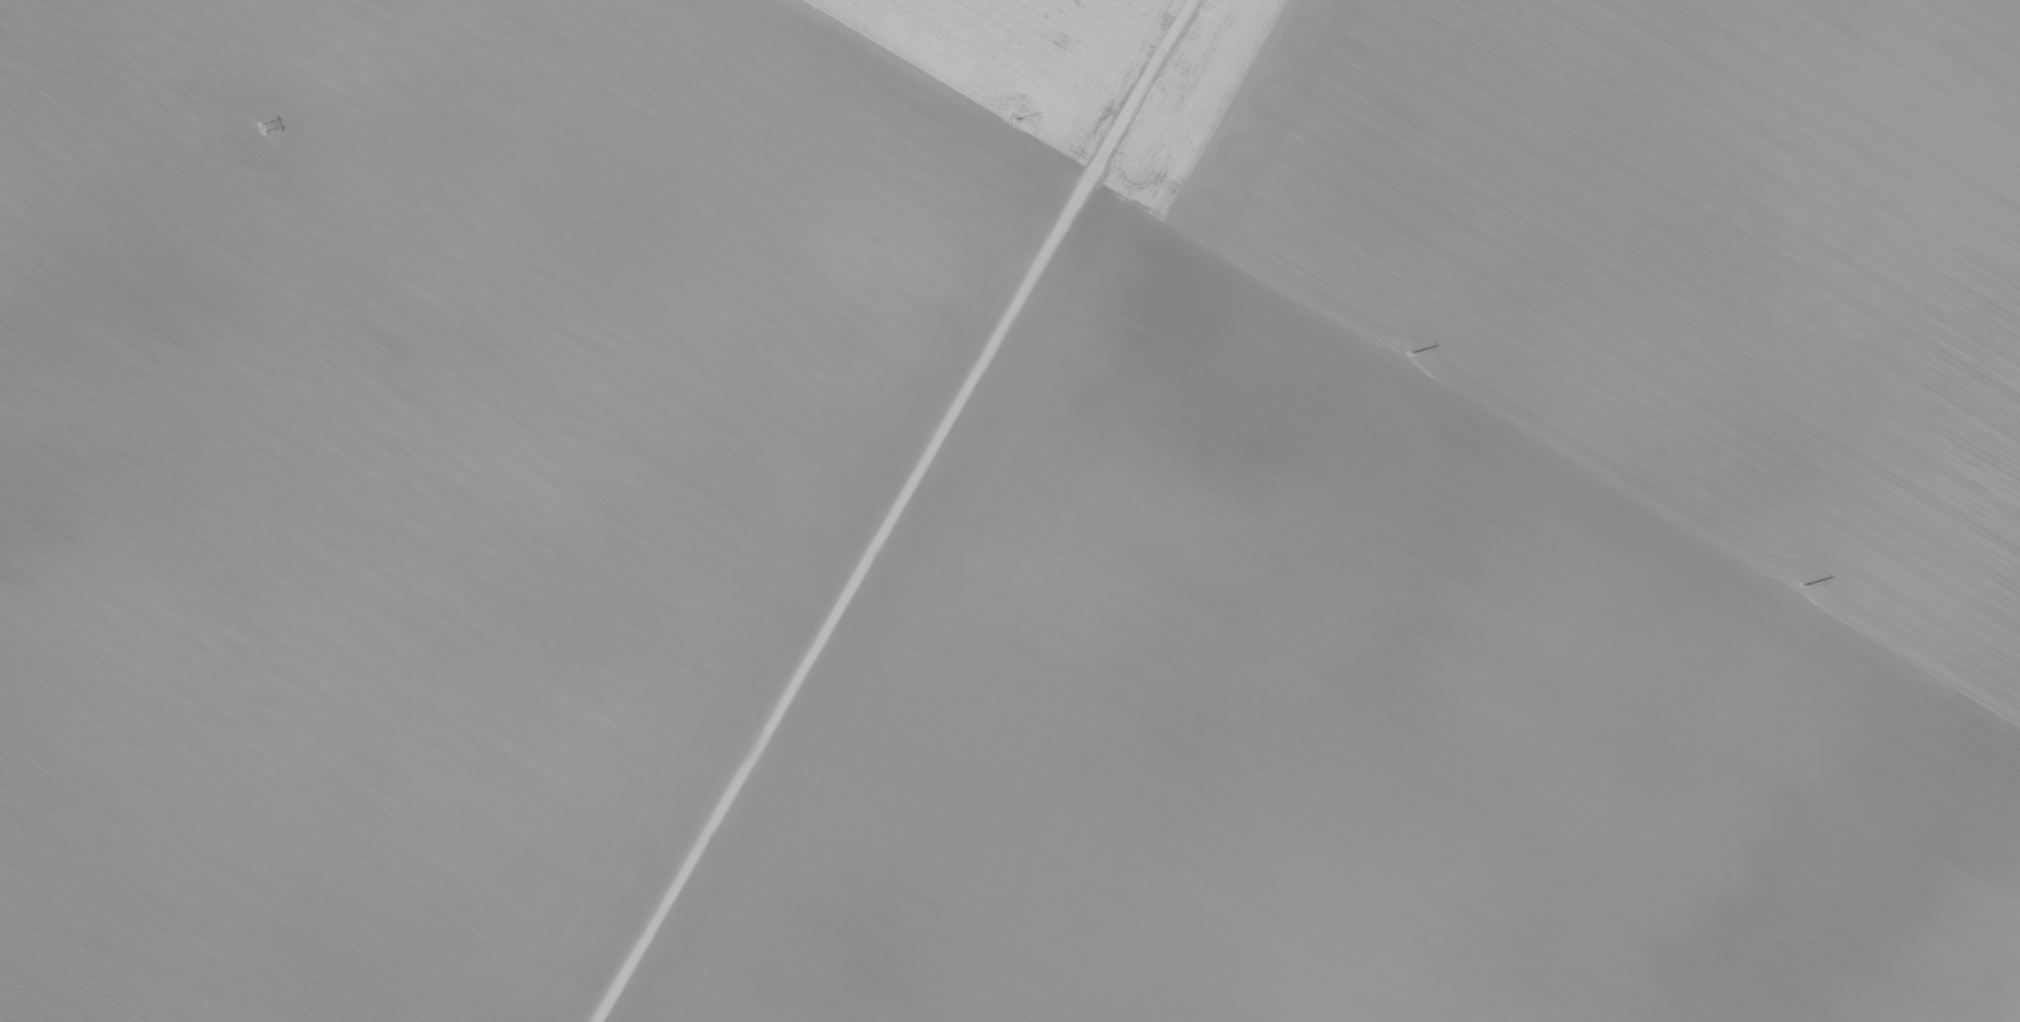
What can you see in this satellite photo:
power tower: (1016, 118)
power tower: (261, 127)
power tower: (1412, 353)
road: (897, 511)
power tower: (1801, 585)

